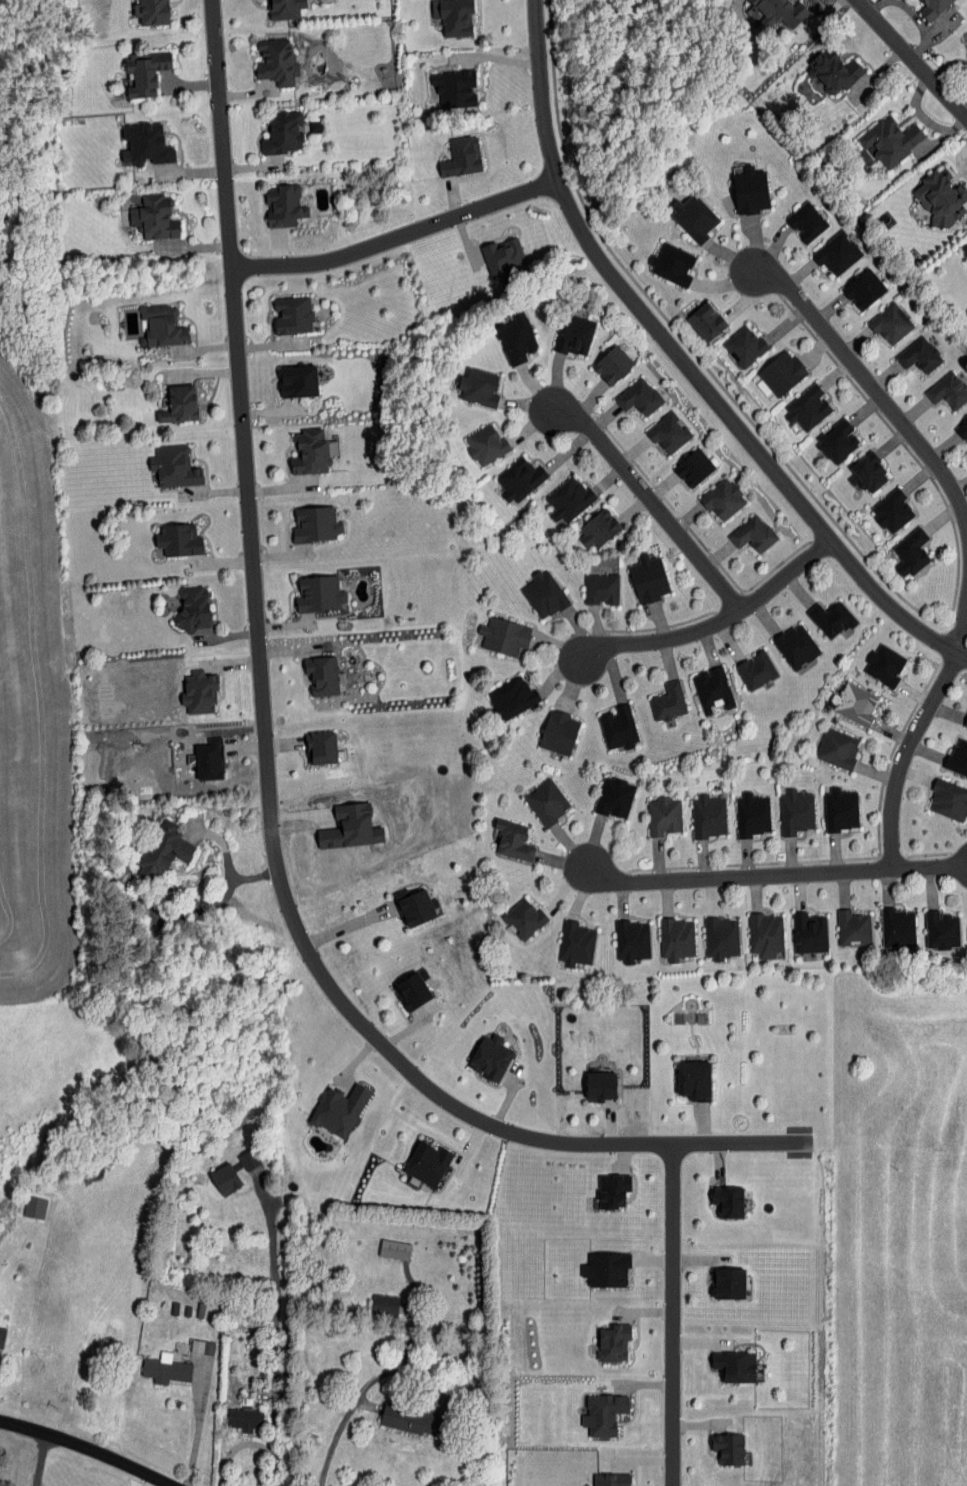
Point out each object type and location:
building: (934, 8)
building: (284, 9)
building: (151, 12)
building: (778, 13)
building: (453, 17)
road: (913, 59)
building: (276, 62)
building: (834, 71)
building: (145, 73)
building: (454, 88)
building: (286, 132)
building: (891, 141)
building: (145, 145)
building: (461, 157)
building: (750, 191)
building: (941, 196)
building: (284, 207)
building: (693, 217)
building: (157, 218)
building: (807, 222)
road: (396, 236)
building: (964, 248)
building: (837, 253)
building: (503, 257)
building: (673, 265)
building: (864, 289)
building: (292, 315)
building: (706, 321)
building: (891, 324)
building: (161, 327)
building: (574, 335)
building: (517, 338)
building: (745, 347)
building: (920, 355)
building: (612, 365)
road: (685, 365)
building: (782, 374)
building: (297, 382)
road: (871, 385)
building: (479, 388)
building: (948, 391)
building: (638, 398)
building: (178, 405)
building: (807, 408)
building: (963, 431)
building: (669, 433)
building: (837, 441)
building: (486, 445)
building: (309, 453)
building: (174, 468)
building: (694, 468)
building: (867, 474)
building: (519, 480)
building: (723, 499)
building: (568, 500)
road: (653, 501)
building: (892, 511)
building: (315, 525)
building: (599, 528)
building: (753, 535)
building: (178, 541)
building: (911, 553)
building: (648, 579)
building: (601, 589)
building: (319, 595)
building: (543, 595)
building: (192, 608)
building: (831, 619)
road: (719, 620)
road: (961, 622)
building: (504, 637)
building: (796, 646)
building: (885, 665)
building: (756, 670)
building: (323, 676)
building: (712, 689)
building: (199, 692)
building: (512, 698)
building: (668, 702)
building: (854, 704)
building: (965, 723)
building: (618, 728)
building: (558, 733)
building: (837, 749)
building: (958, 758)
road: (910, 760)
building: (208, 761)
road: (266, 768)
building: (614, 798)
building: (949, 801)
building: (547, 802)
building: (841, 811)
building: (796, 813)
building: (752, 815)
building: (663, 817)
building: (708, 817)
building: (350, 829)
building: (513, 842)
building: (165, 849)
road: (229, 867)
road: (933, 874)
road: (735, 882)
building: (413, 905)
road: (187, 914)
building: (524, 918)
road: (349, 925)
building: (898, 925)
building: (853, 927)
building: (941, 929)
building: (809, 932)
building: (766, 934)
building: (721, 937)
building: (676, 938)
building: (632, 940)
building: (576, 944)
building: (413, 988)
building: (490, 1057)
building: (694, 1079)
building: (600, 1085)
building: (339, 1109)
building: (427, 1163)
building: (225, 1179)
building: (613, 1190)
building: (728, 1201)
building: (394, 1249)
building: (606, 1269)
building: (728, 1282)
road: (671, 1315)
building: (1, 1336)
building: (613, 1342)
road: (273, 1346)
building: (735, 1366)
building: (165, 1369)
building: (603, 1414)
building: (245, 1418)
building: (410, 1419)
road: (353, 1426)
road: (188, 1430)
road: (236, 1447)
road: (87, 1448)
building: (729, 1448)
road: (39, 1460)
road: (135, 1478)
building: (611, 1479)

